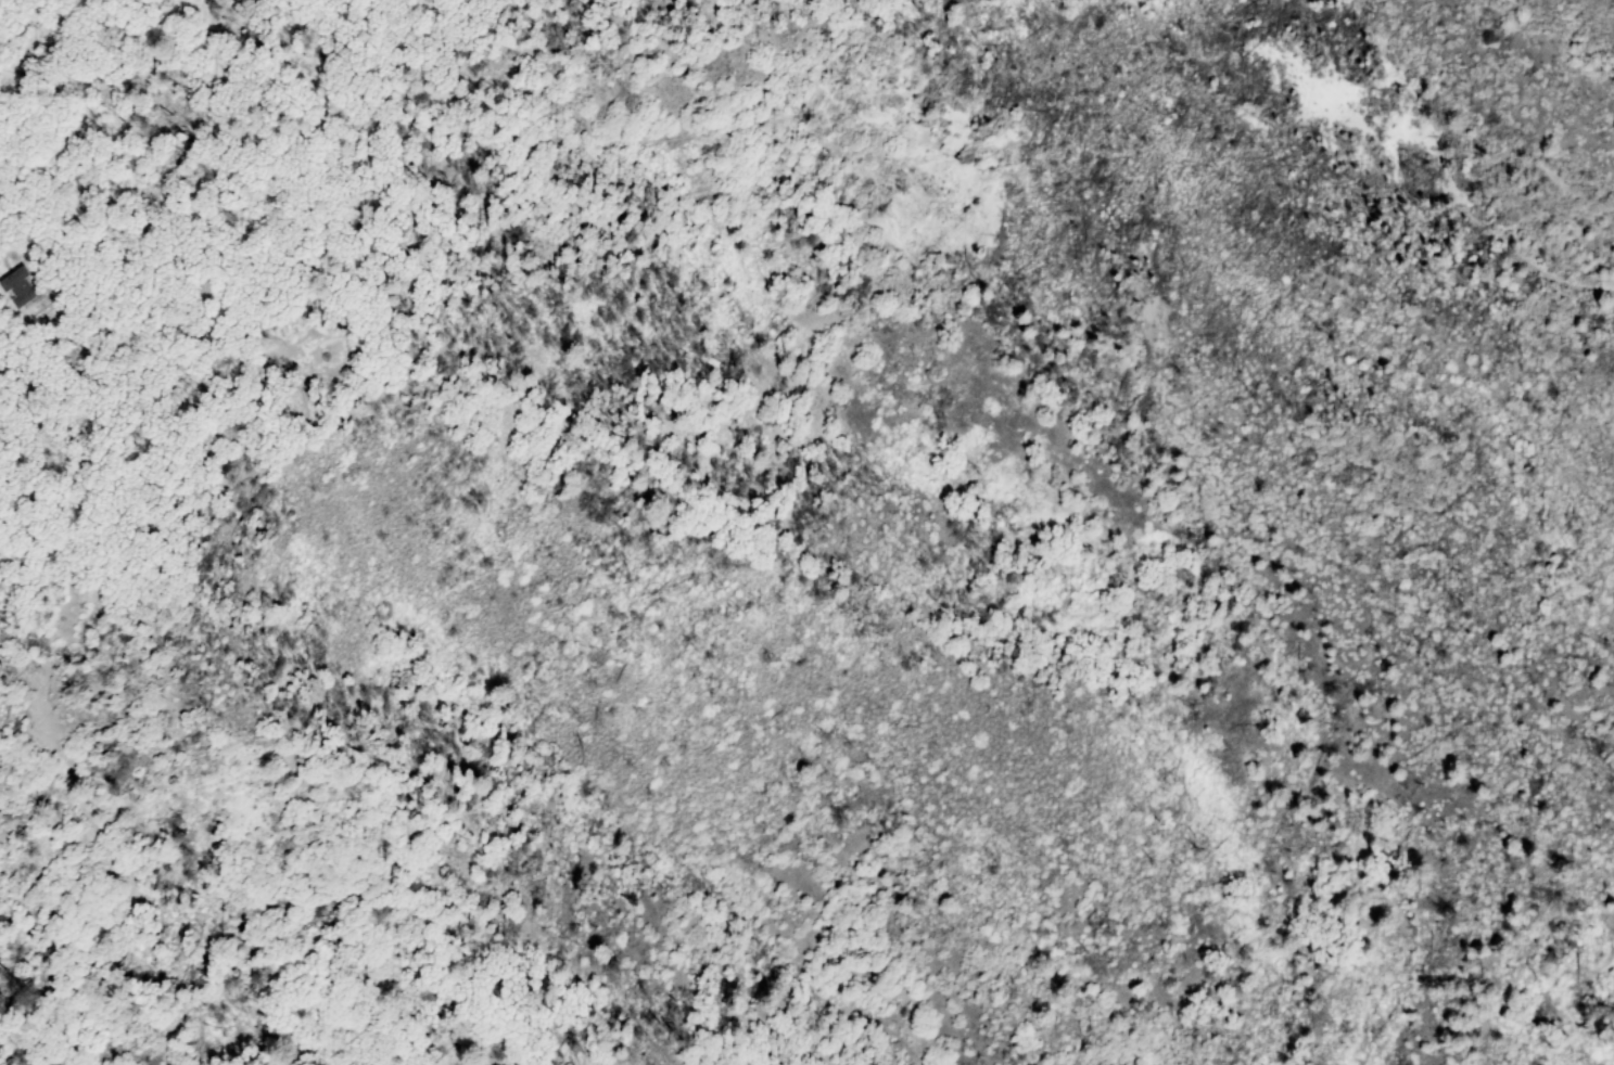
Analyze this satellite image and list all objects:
road: (1267, 120)
road: (1452, 179)
building: (17, 292)
building: (323, 349)
building: (56, 623)

